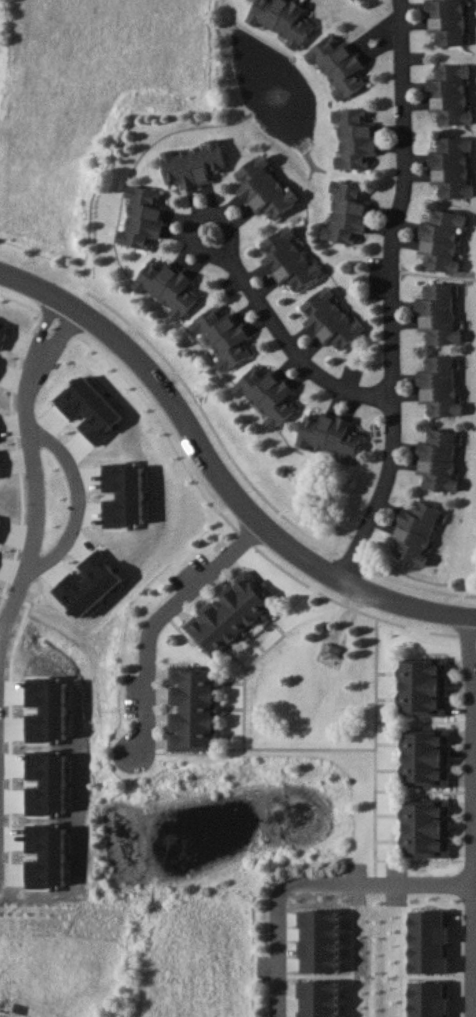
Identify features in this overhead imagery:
building: (282, 20)
building: (446, 21)
building: (338, 67)
building: (449, 94)
building: (353, 139)
building: (193, 164)
building: (452, 167)
building: (263, 187)
building: (346, 213)
building: (142, 218)
building: (441, 240)
building: (288, 260)
building: (166, 287)
road: (249, 288)
road: (391, 296)
building: (437, 314)
building: (330, 319)
building: (223, 337)
building: (439, 386)
building: (267, 395)
building: (329, 436)
building: (437, 460)
road: (215, 476)
road: (79, 503)
building: (414, 533)
road: (28, 569)
building: (230, 615)
road: (163, 622)
building: (423, 686)
building: (192, 708)
building: (426, 757)
road: (467, 819)
building: (426, 828)
road: (1, 842)
road: (300, 881)

